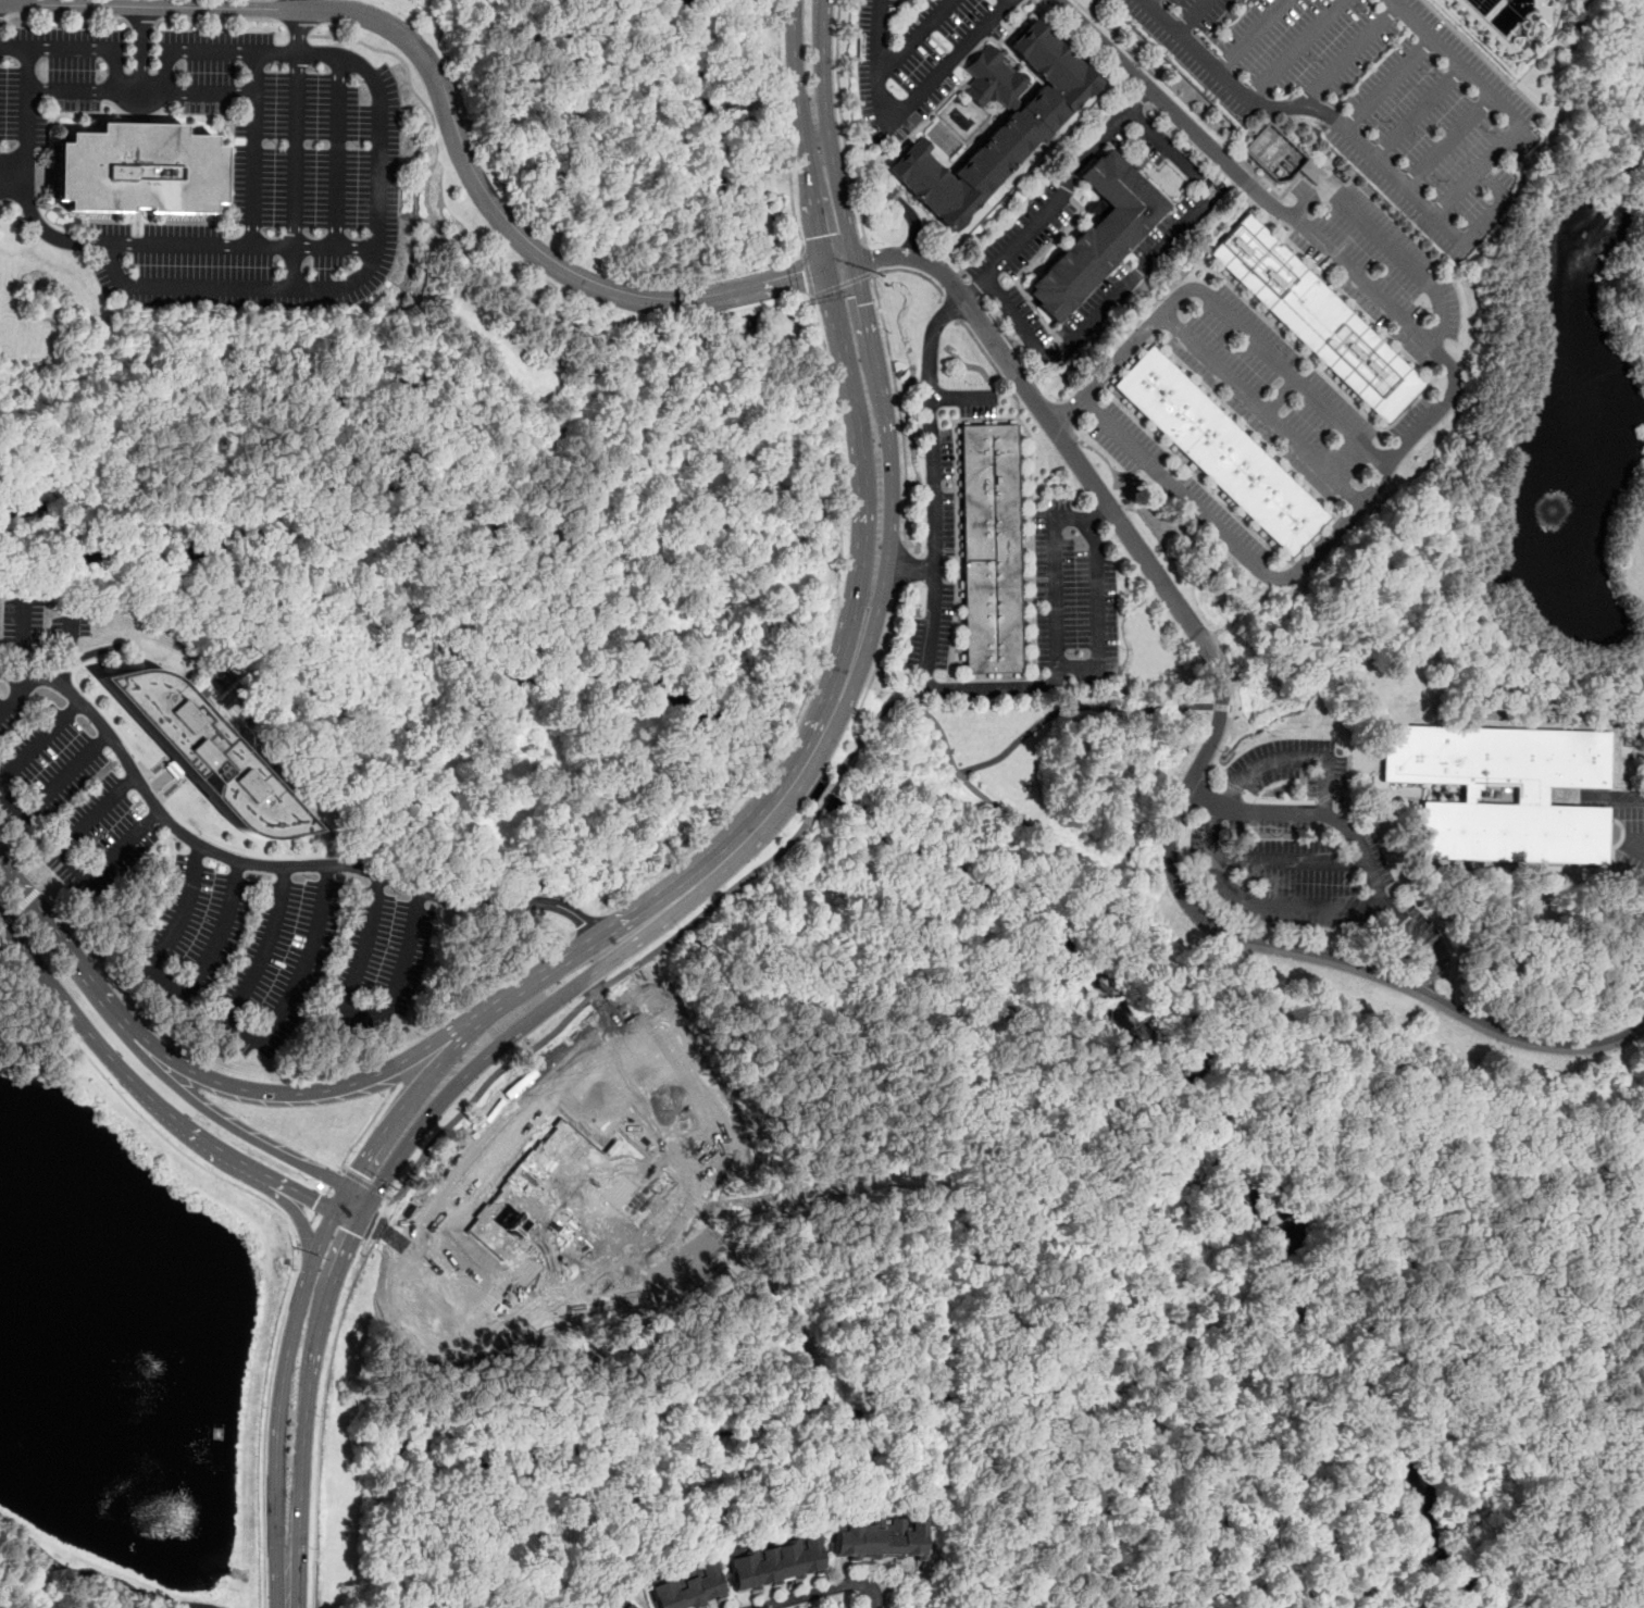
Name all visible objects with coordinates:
road: (1147, 1)
road: (299, 4)
road: (1191, 16)
road: (150, 17)
road: (1250, 36)
road: (912, 39)
road: (141, 49)
road: (1293, 50)
road: (210, 51)
road: (1347, 52)
road: (875, 62)
road: (947, 62)
road: (25, 68)
road: (1388, 83)
road: (113, 85)
road: (184, 92)
parking lot: (1363, 97)
road: (1179, 100)
road: (1288, 104)
road: (1499, 104)
road: (1417, 110)
road: (1172, 111)
road: (447, 113)
road: (840, 124)
road: (781, 125)
building: (1024, 126)
road: (297, 127)
road: (1446, 140)
road: (252, 148)
road: (1171, 150)
road: (338, 151)
building: (1280, 155)
building: (136, 167)
road: (12, 171)
parking lot: (314, 185)
road: (1060, 196)
road: (1309, 199)
building: (1096, 208)
road: (1480, 222)
road: (452, 229)
building: (1097, 233)
traffic signals: (820, 236)
road: (239, 245)
road: (422, 253)
road: (1402, 254)
road: (869, 260)
traffic signals: (873, 260)
traffic signals: (825, 271)
road: (806, 273)
road: (1135, 274)
traffic signals: (804, 276)
road: (843, 283)
road: (287, 286)
road: (1371, 290)
traffic signals: (864, 303)
road: (952, 310)
building: (1315, 316)
road: (1018, 323)
road: (839, 341)
road: (930, 342)
road: (872, 345)
road: (1124, 353)
road: (890, 366)
road: (1294, 377)
road: (1262, 409)
building: (1219, 451)
road: (1031, 487)
road: (840, 488)
road: (936, 503)
road: (1095, 512)
building: (988, 548)
road: (911, 559)
road: (900, 569)
road: (1287, 575)
road: (560, 578)
road: (908, 578)
road: (25, 636)
road: (1212, 636)
road: (72, 653)
road: (1062, 666)
road: (874, 668)
road: (992, 688)
road: (17, 695)
road: (1074, 706)
road: (1221, 707)
road: (787, 736)
road: (39, 741)
road: (805, 741)
road: (820, 750)
road: (1204, 752)
building: (205, 753)
building: (1495, 756)
road: (1293, 758)
road: (53, 787)
road: (822, 795)
road: (1199, 798)
road: (1627, 799)
road: (161, 807)
road: (167, 808)
building: (1514, 830)
road: (1358, 843)
road: (1632, 843)
road: (680, 855)
road: (71, 860)
road: (1290, 860)
road: (267, 864)
parking lot: (185, 872)
road: (644, 905)
road: (1262, 905)
road: (18, 907)
road: (587, 922)
road: (1427, 984)
road: (174, 988)
road: (477, 995)
road: (553, 1001)
road: (585, 1001)
road: (66, 1005)
road: (364, 1014)
road: (488, 1015)
park: (28, 1022)
road: (1178, 1026)
road: (254, 1039)
road: (147, 1057)
road: (386, 1071)
road: (315, 1090)
road: (406, 1106)
road: (138, 1114)
road: (365, 1126)
road: (201, 1137)
road: (363, 1182)
traffic signals: (349, 1187)
road: (360, 1193)
road: (300, 1195)
road: (340, 1200)
road: (316, 1209)
road: (295, 1213)
traffic signals: (333, 1213)
road: (344, 1219)
park: (1632, 1220)
park: (129, 1349)
road: (323, 1396)
road: (276, 1406)
road: (307, 1412)
road: (264, 1429)
building: (874, 1541)
building: (771, 1562)
road: (102, 1578)
building: (683, 1586)
road: (839, 1604)
building: (620, 1605)

